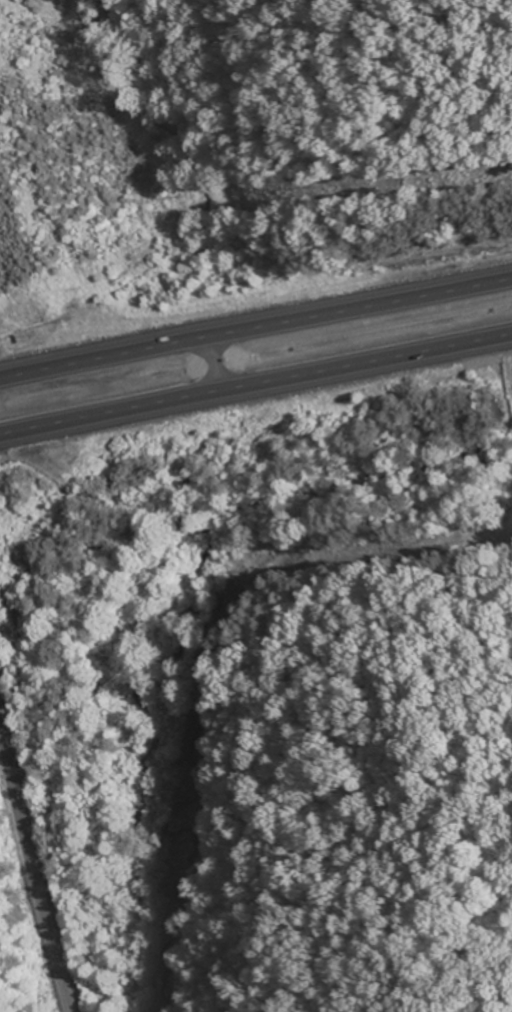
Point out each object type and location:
road: (256, 327)
road: (256, 388)
road: (32, 859)

